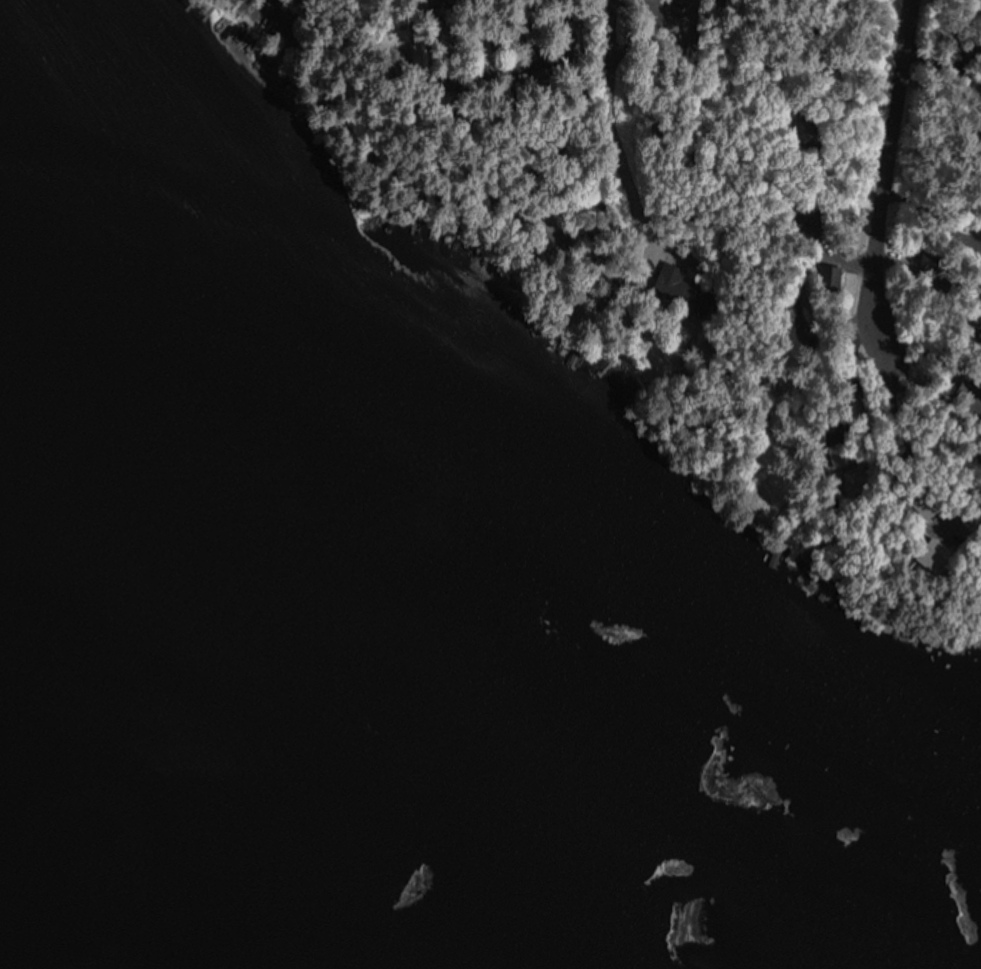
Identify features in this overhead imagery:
road: (871, 173)
building: (973, 226)
building: (979, 255)

